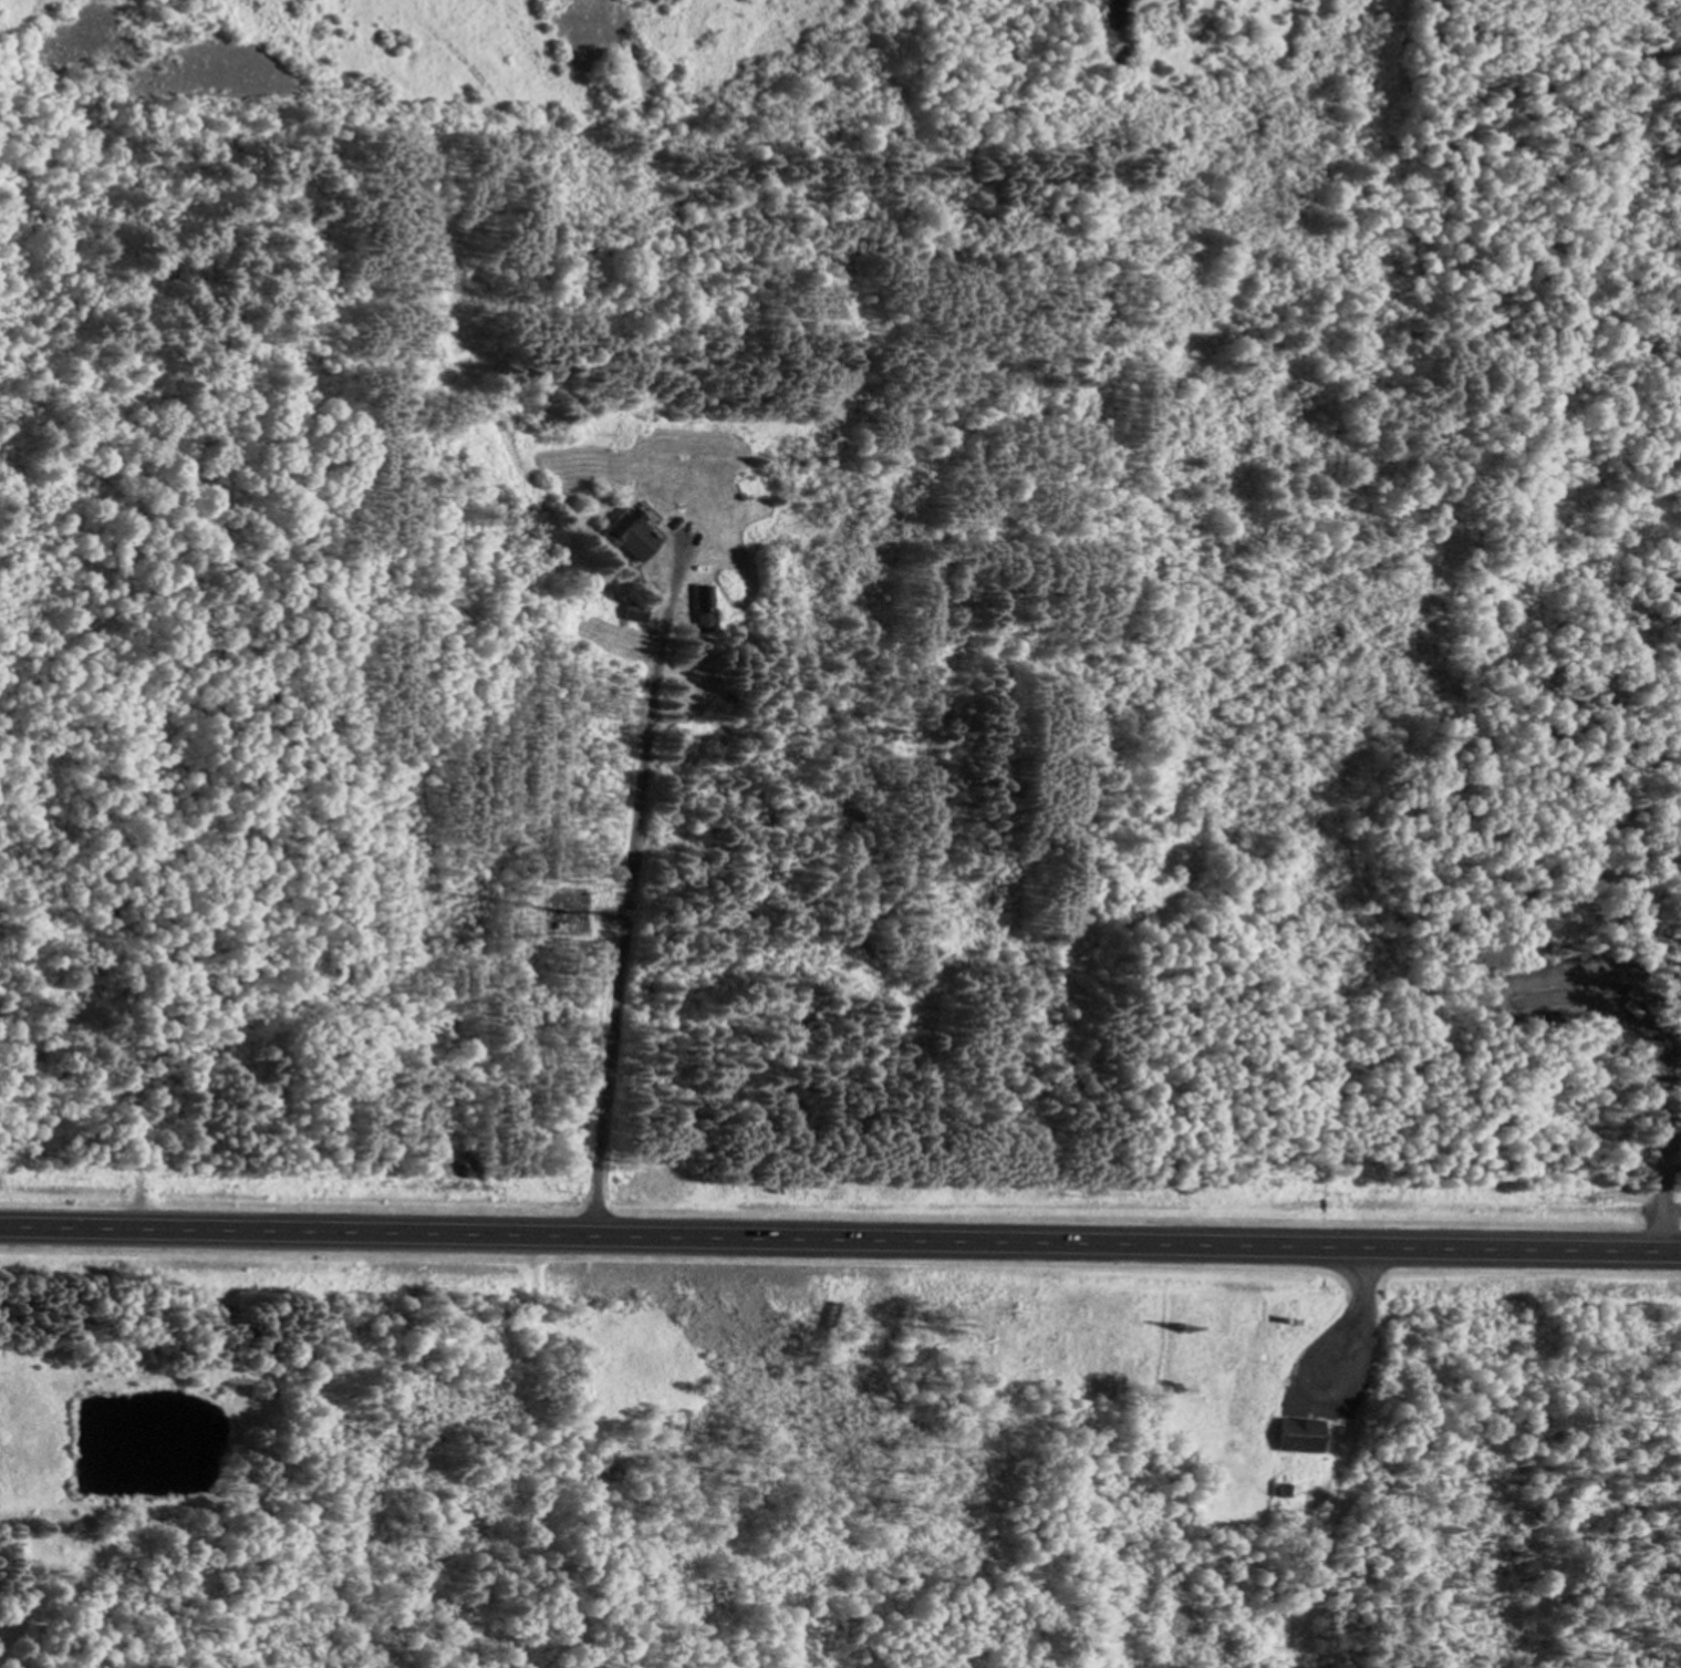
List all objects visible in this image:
building: (635, 533)
building: (703, 605)
building: (634, 611)
road: (624, 911)
road: (840, 1239)
road: (1358, 1325)
building: (1299, 1433)

